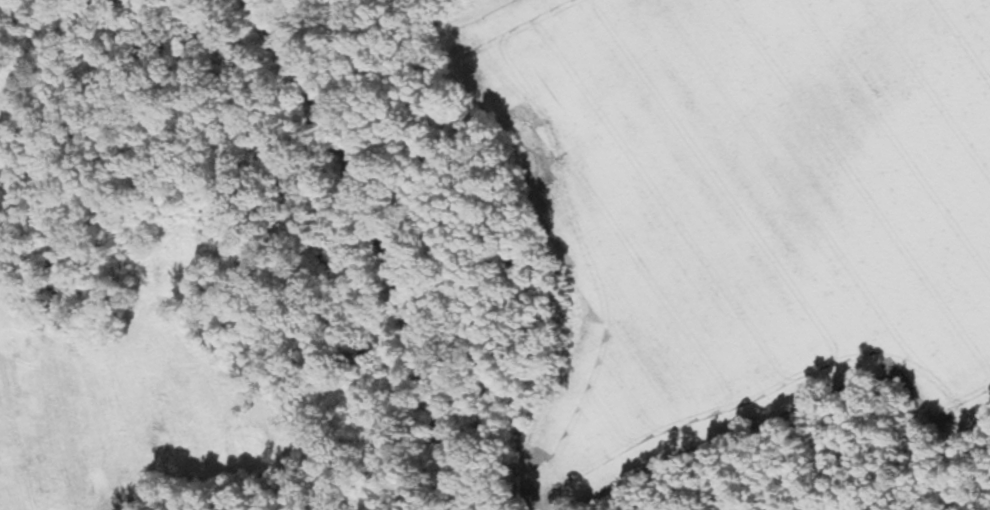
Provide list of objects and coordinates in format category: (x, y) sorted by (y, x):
railway: (391, 247)

